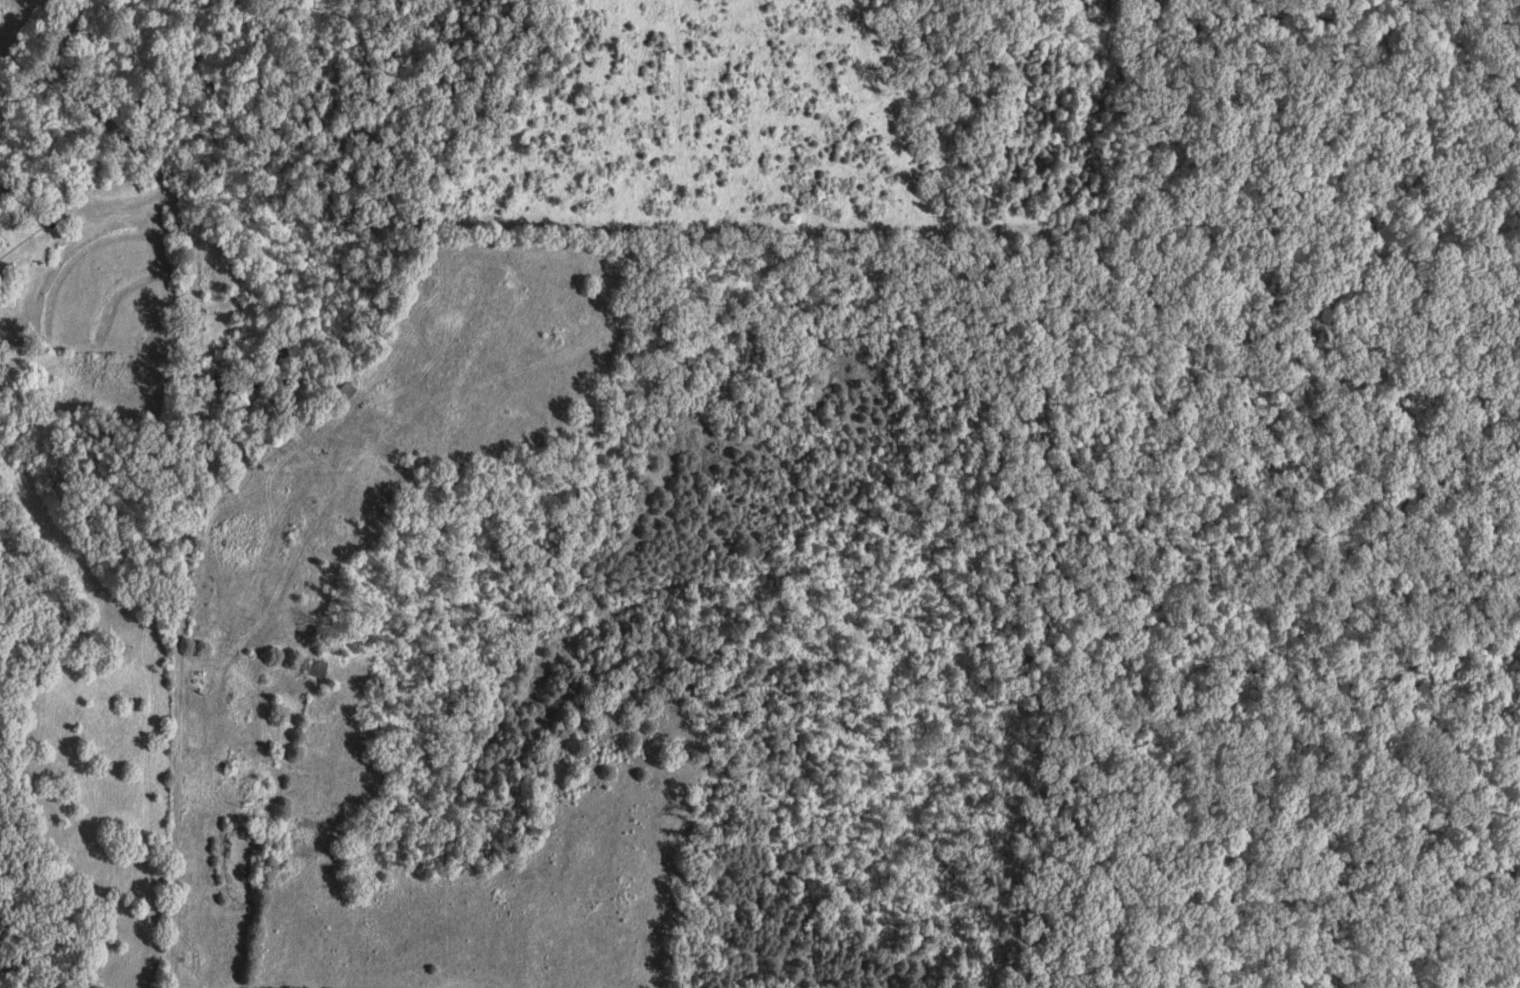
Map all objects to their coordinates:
road: (46, 61)
building: (343, 395)
building: (241, 397)
building: (304, 669)

